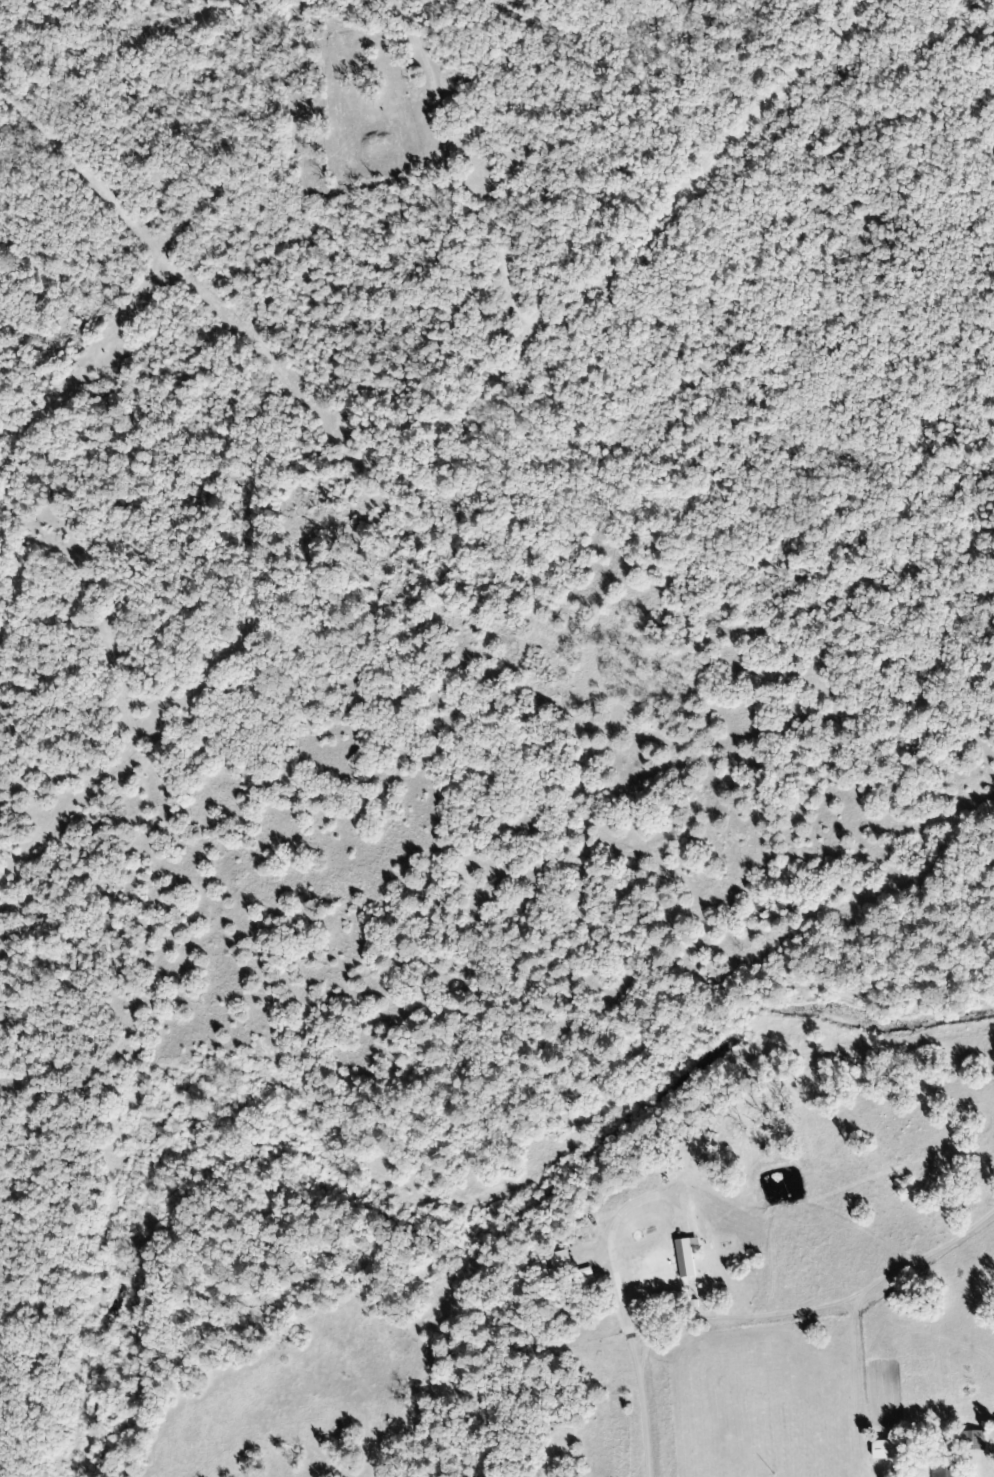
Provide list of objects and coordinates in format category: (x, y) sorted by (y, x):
building: (686, 1257)
building: (562, 1260)
building: (973, 1440)
building: (891, 1449)
building: (946, 1472)

